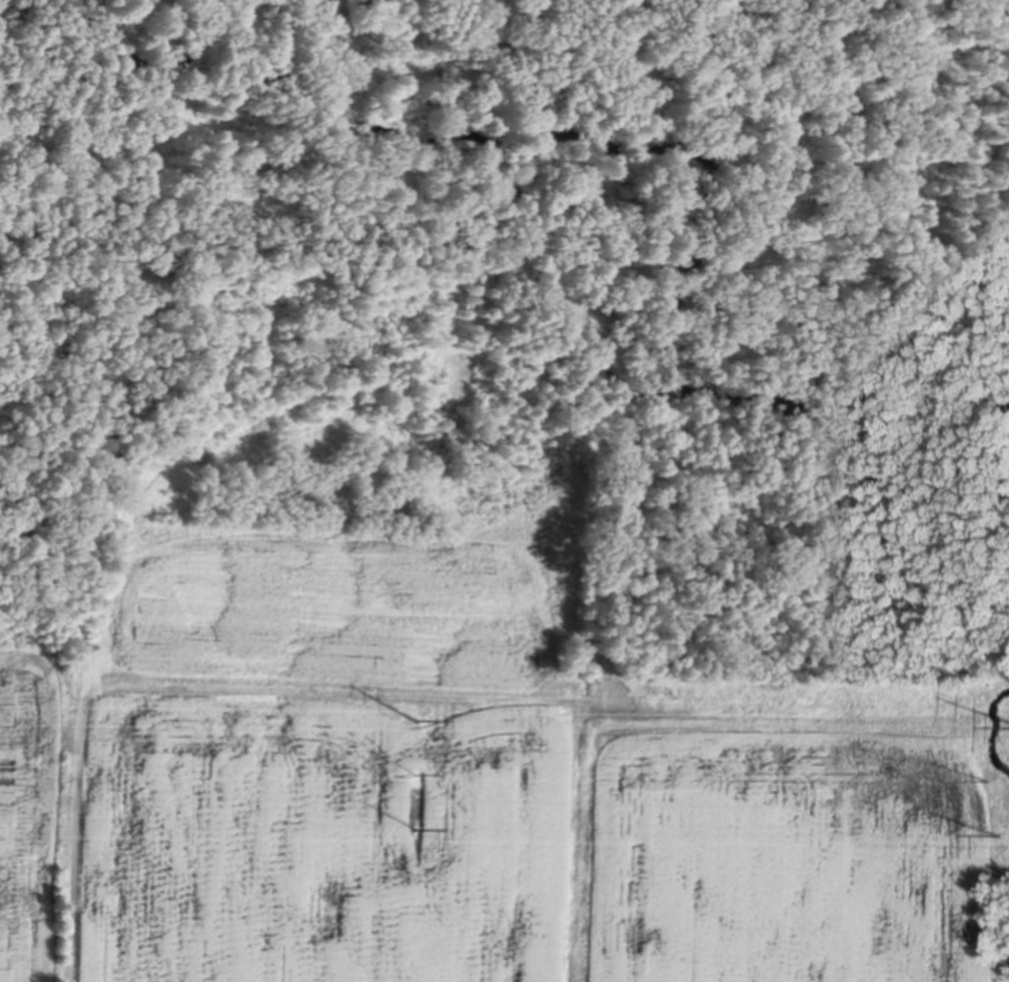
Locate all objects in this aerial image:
river: (644, 145)
power tower: (413, 716)
river: (995, 733)

